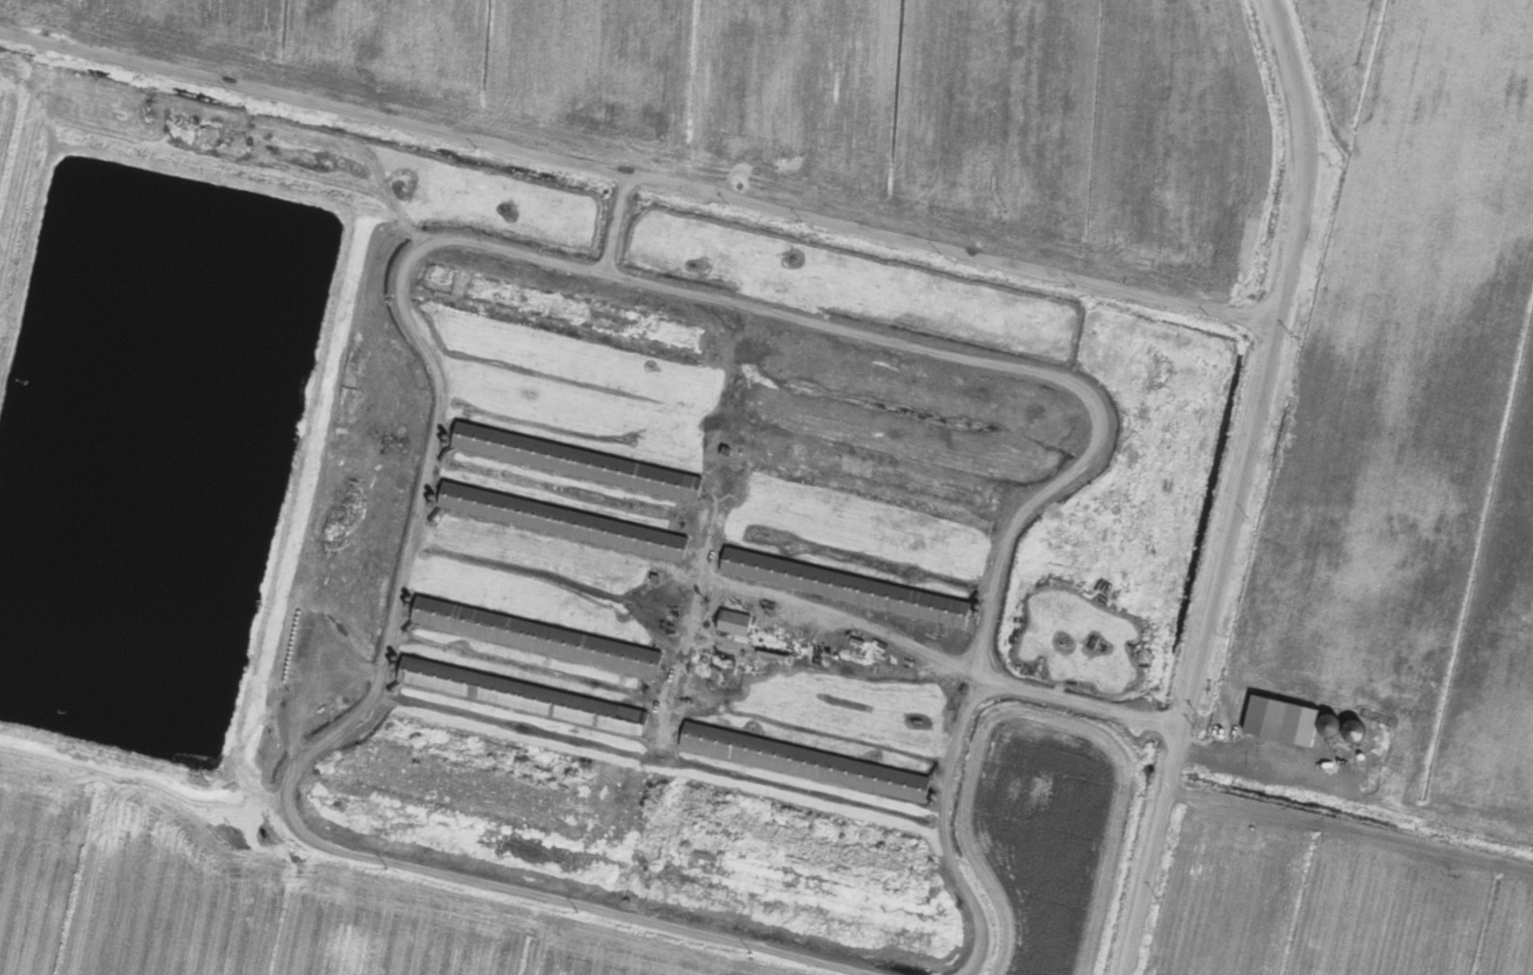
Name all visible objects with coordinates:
road: (635, 178)
building: (581, 462)
road: (1233, 487)
building: (567, 522)
building: (849, 587)
building: (737, 622)
building: (541, 637)
building: (724, 646)
road: (955, 665)
building: (527, 696)
building: (1270, 717)
building: (1333, 724)
building: (809, 762)
road: (1354, 795)

